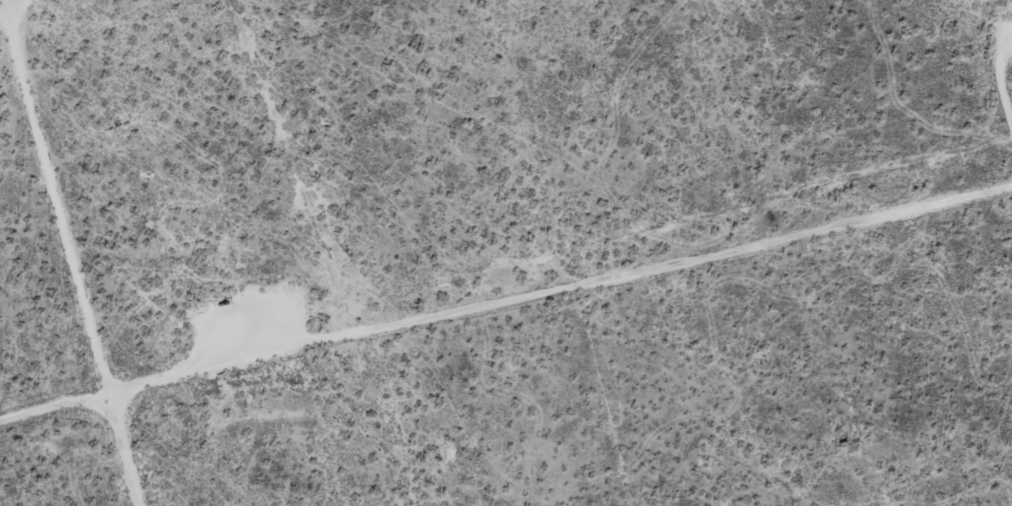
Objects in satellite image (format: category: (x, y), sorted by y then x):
road: (4, 1)
road: (71, 257)
road: (505, 296)

